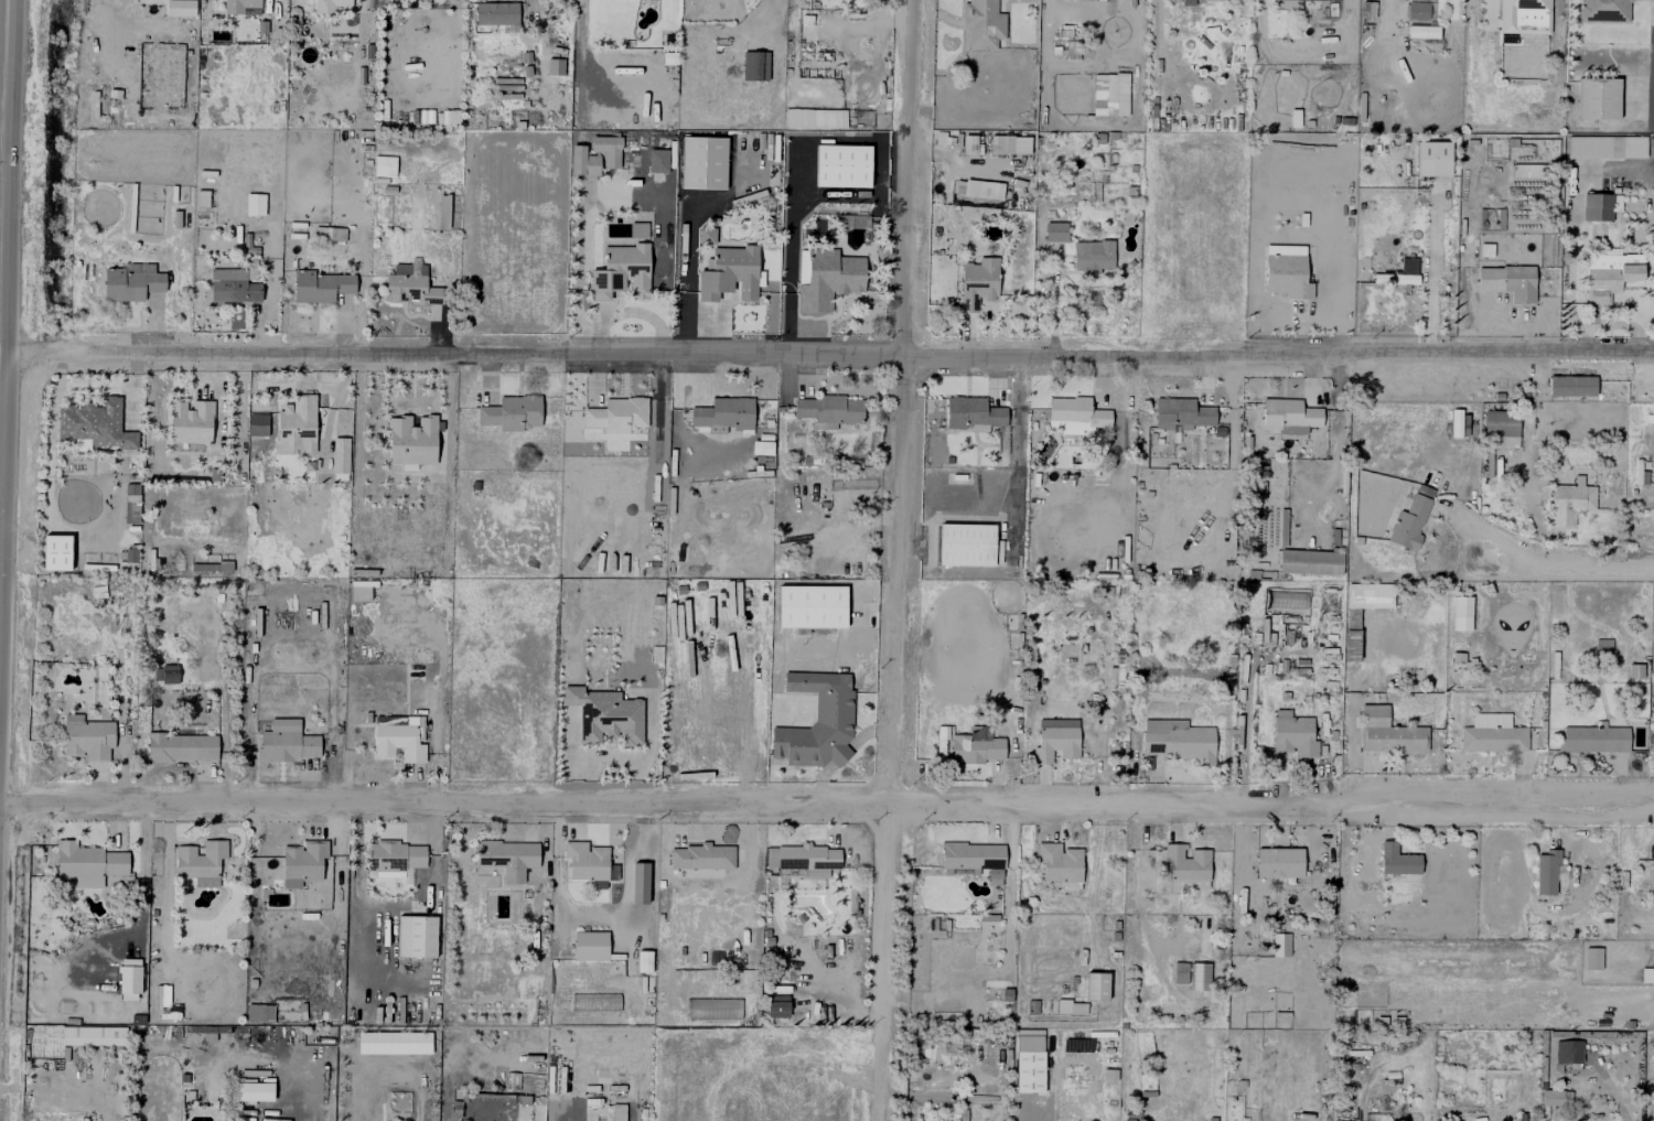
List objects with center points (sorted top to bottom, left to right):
building: (1188, 2)
building: (1287, 3)
building: (331, 4)
building: (241, 7)
building: (180, 8)
building: (1604, 10)
building: (496, 12)
building: (1524, 17)
building: (1420, 19)
building: (754, 65)
building: (555, 66)
building: (1598, 98)
building: (828, 118)
building: (1009, 143)
building: (1605, 147)
building: (606, 149)
building: (1432, 158)
building: (657, 160)
building: (582, 161)
building: (702, 162)
building: (842, 165)
building: (982, 188)
building: (1600, 206)
building: (1055, 230)
building: (1092, 256)
building: (621, 271)
building: (730, 272)
building: (838, 272)
building: (1399, 273)
building: (1610, 274)
building: (1287, 276)
building: (131, 281)
building: (978, 281)
building: (1508, 281)
building: (410, 284)
building: (321, 285)
building: (235, 290)
road: (833, 358)
building: (1571, 385)
building: (829, 410)
road: (10, 411)
building: (1076, 411)
building: (512, 412)
building: (723, 412)
building: (973, 412)
building: (1181, 413)
building: (617, 414)
building: (1289, 417)
building: (190, 421)
building: (94, 423)
building: (297, 424)
building: (1501, 429)
building: (411, 440)
building: (341, 454)
building: (1569, 503)
building: (1411, 518)
building: (966, 543)
road: (893, 560)
building: (1310, 561)
road: (1570, 568)
building: (812, 606)
building: (1461, 613)
building: (1351, 634)
building: (1635, 670)
building: (605, 714)
building: (817, 722)
building: (1388, 732)
building: (1293, 734)
building: (1493, 734)
building: (87, 737)
building: (398, 739)
building: (1055, 739)
building: (1594, 739)
building: (1178, 740)
building: (287, 741)
building: (182, 746)
building: (976, 746)
road: (827, 802)
building: (395, 855)
building: (507, 856)
building: (701, 856)
building: (808, 856)
building: (970, 858)
building: (200, 859)
building: (586, 860)
building: (1397, 860)
building: (303, 862)
building: (1060, 862)
building: (87, 863)
building: (1549, 871)
building: (638, 882)
building: (416, 936)
building: (1280, 944)
building: (590, 945)
building: (1592, 958)
building: (130, 961)
building: (1180, 972)
building: (1200, 976)
building: (129, 982)
building: (1096, 985)
building: (777, 1005)
building: (259, 1012)
building: (93, 1035)
building: (377, 1042)
building: (1569, 1050)
building: (1030, 1071)
road: (66, 1088)
building: (254, 1090)
building: (1551, 1097)
building: (1338, 1120)

